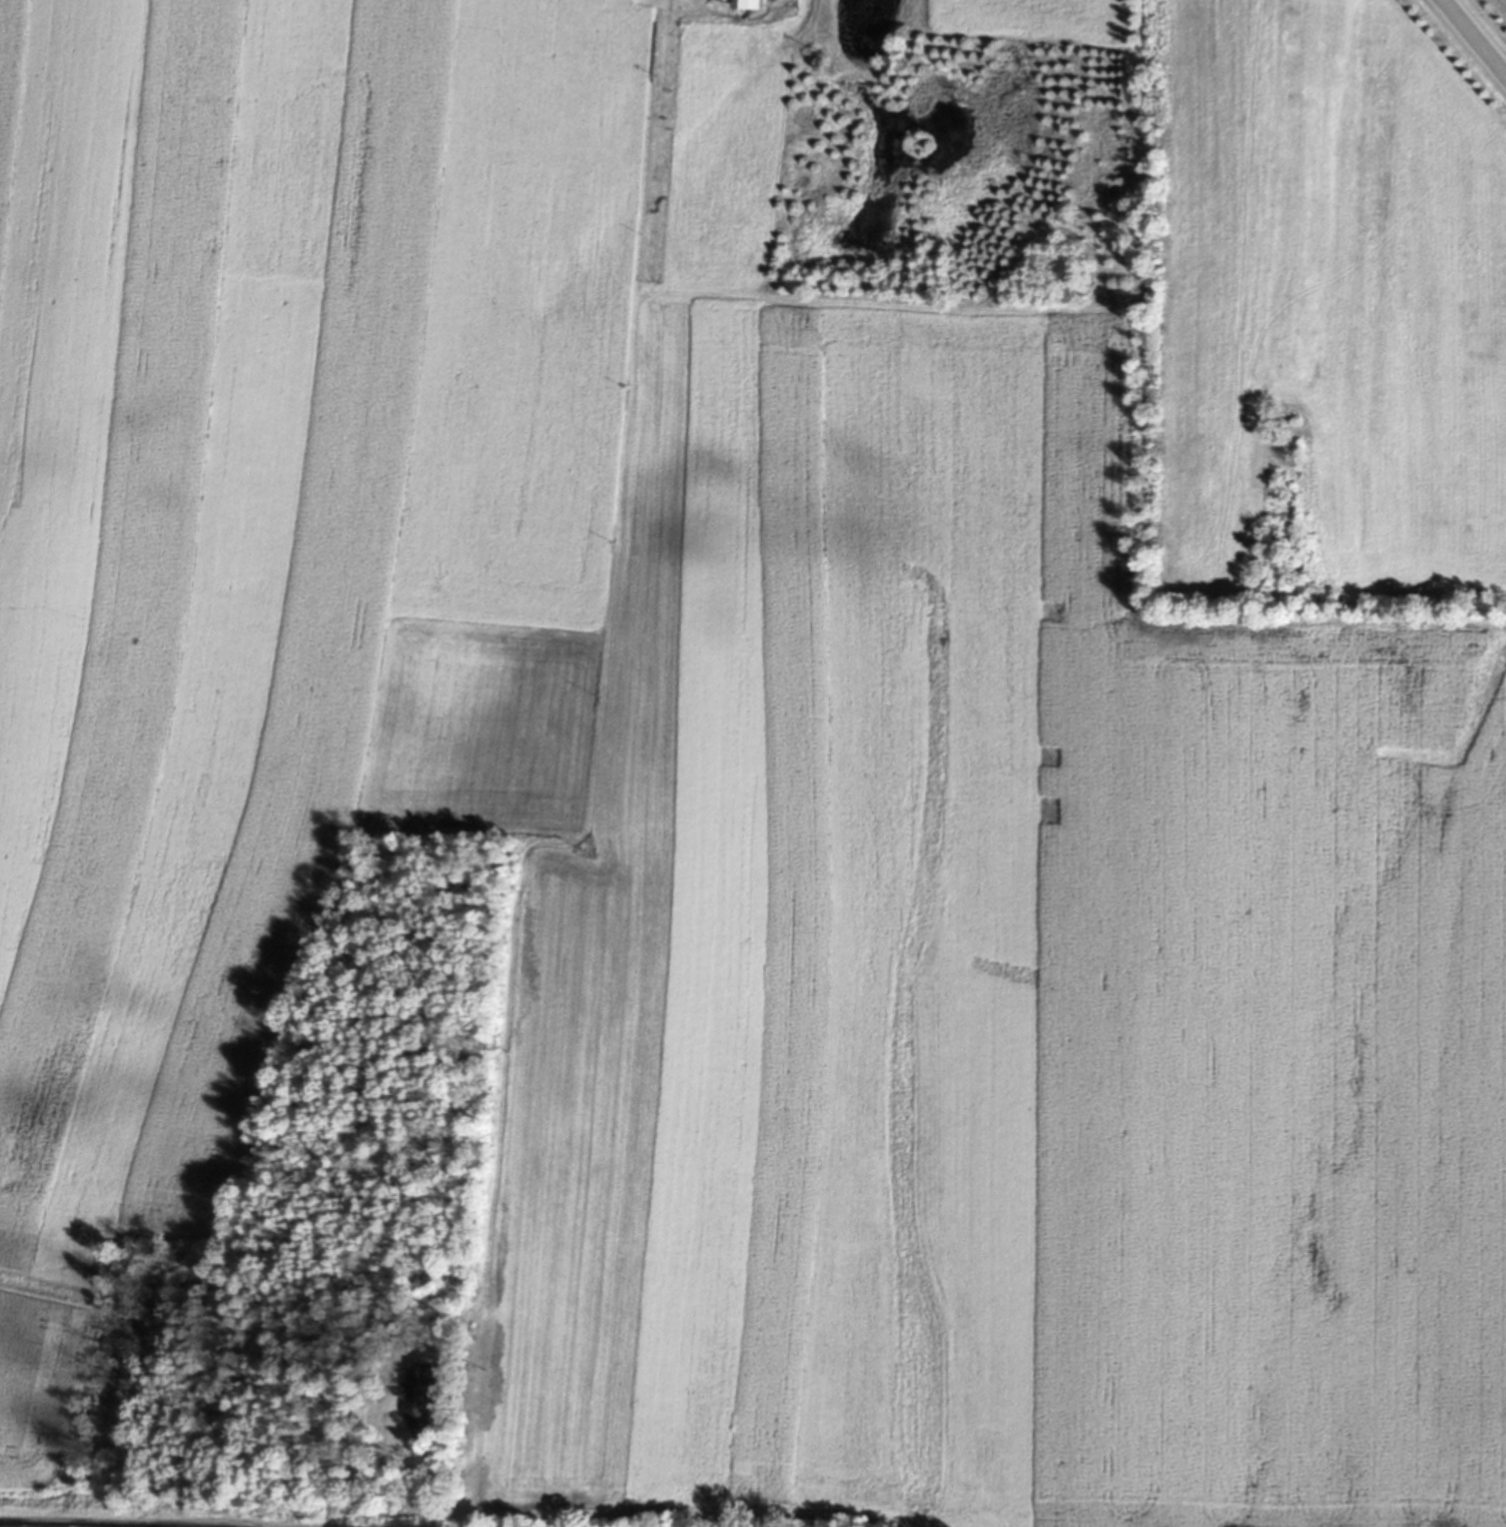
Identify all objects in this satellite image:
building: (747, 4)
road: (1473, 38)
road: (355, 1473)
road: (51, 1525)

